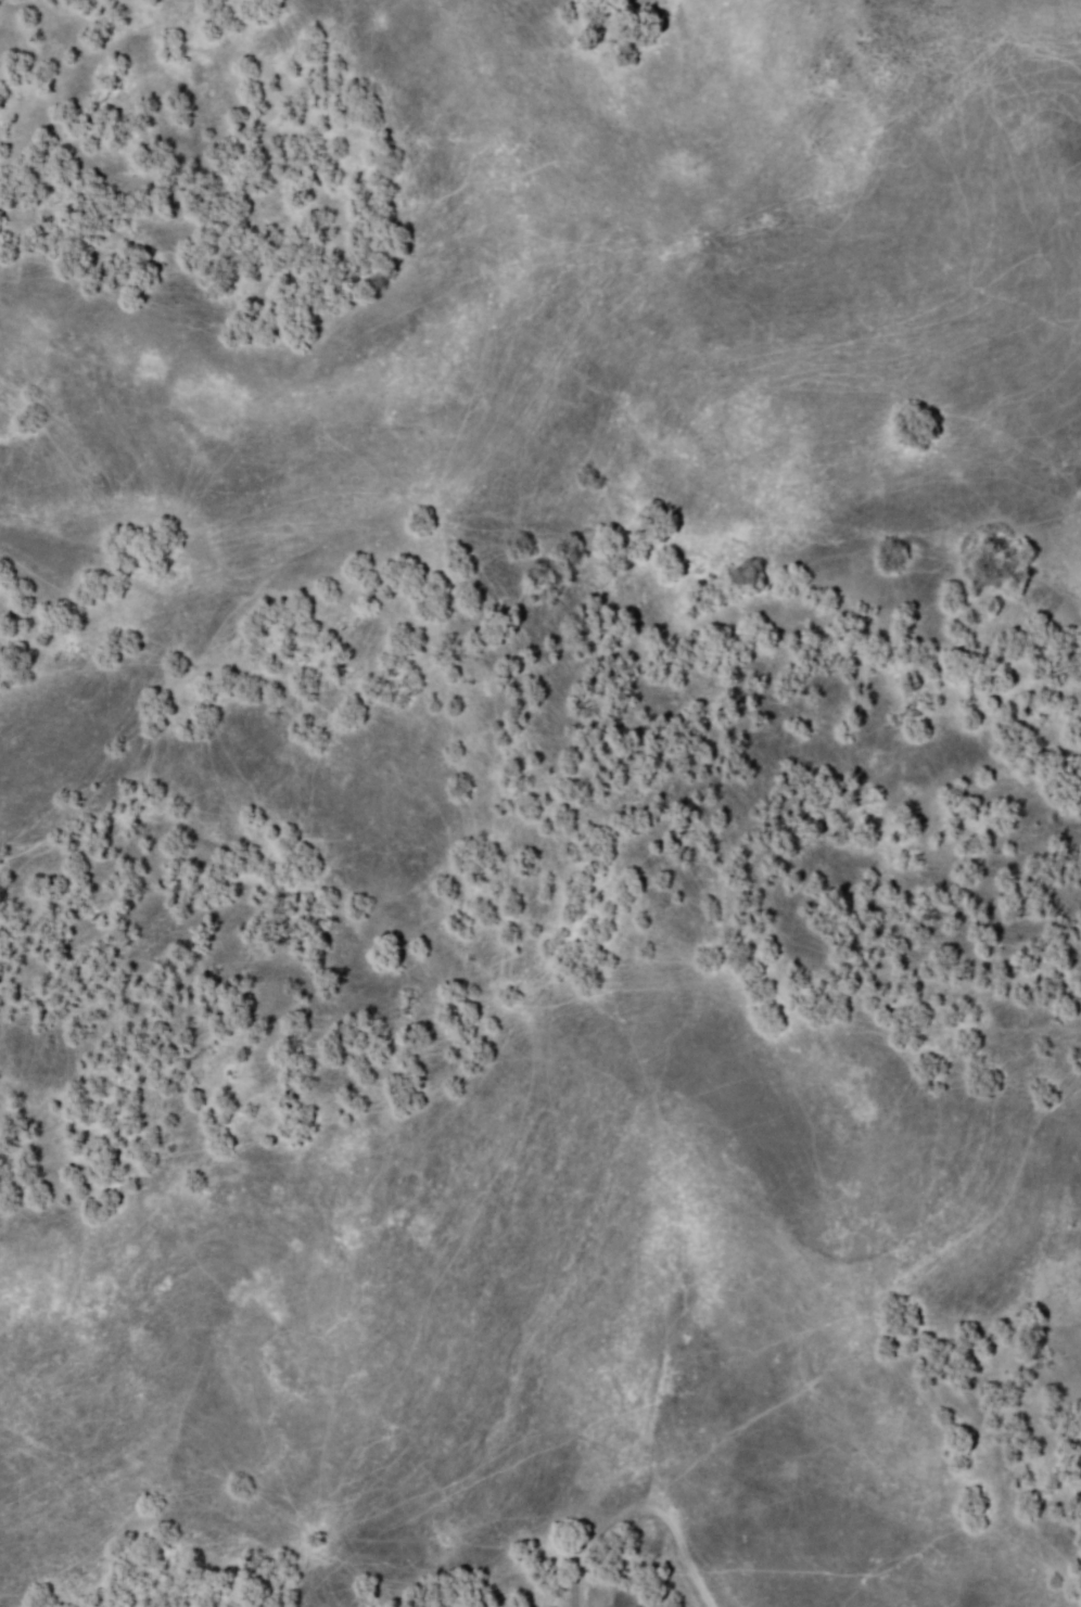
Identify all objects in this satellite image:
road: (633, 1504)

